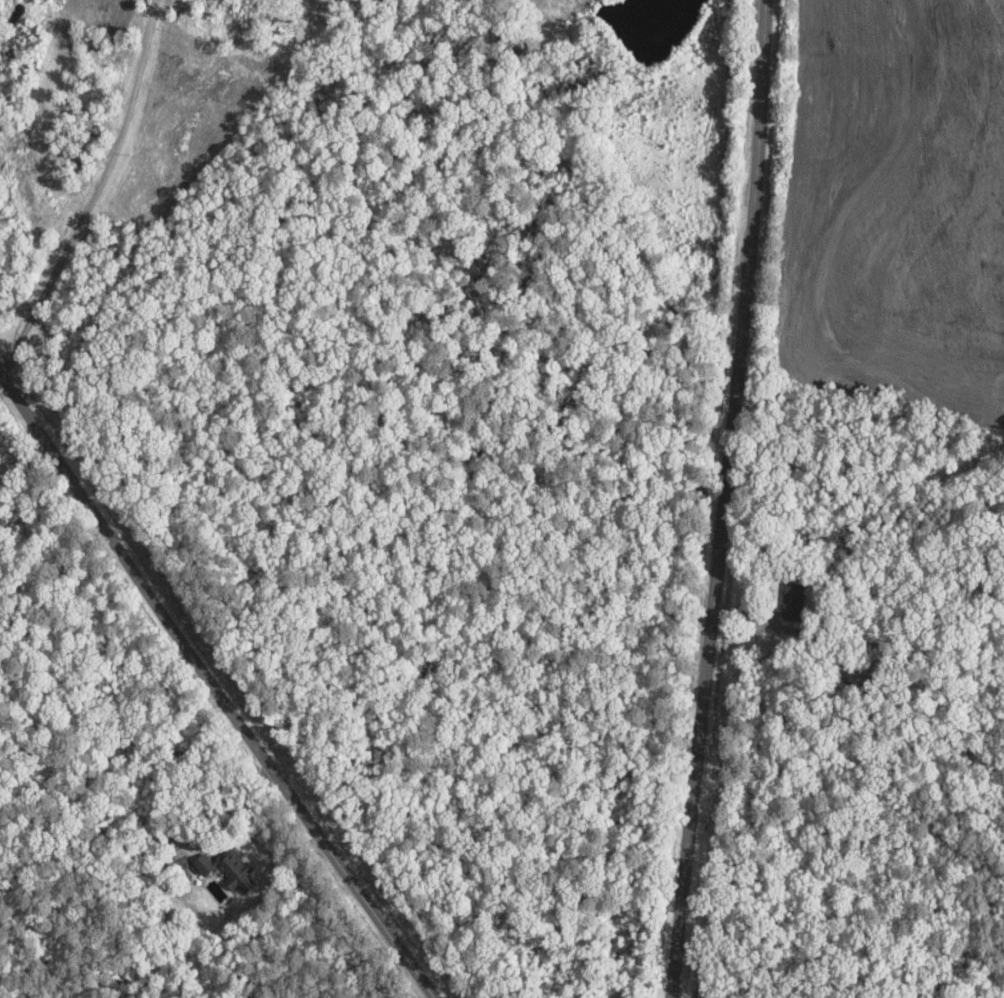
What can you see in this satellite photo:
road: (736, 499)
building: (799, 601)
road: (215, 681)
building: (229, 870)

